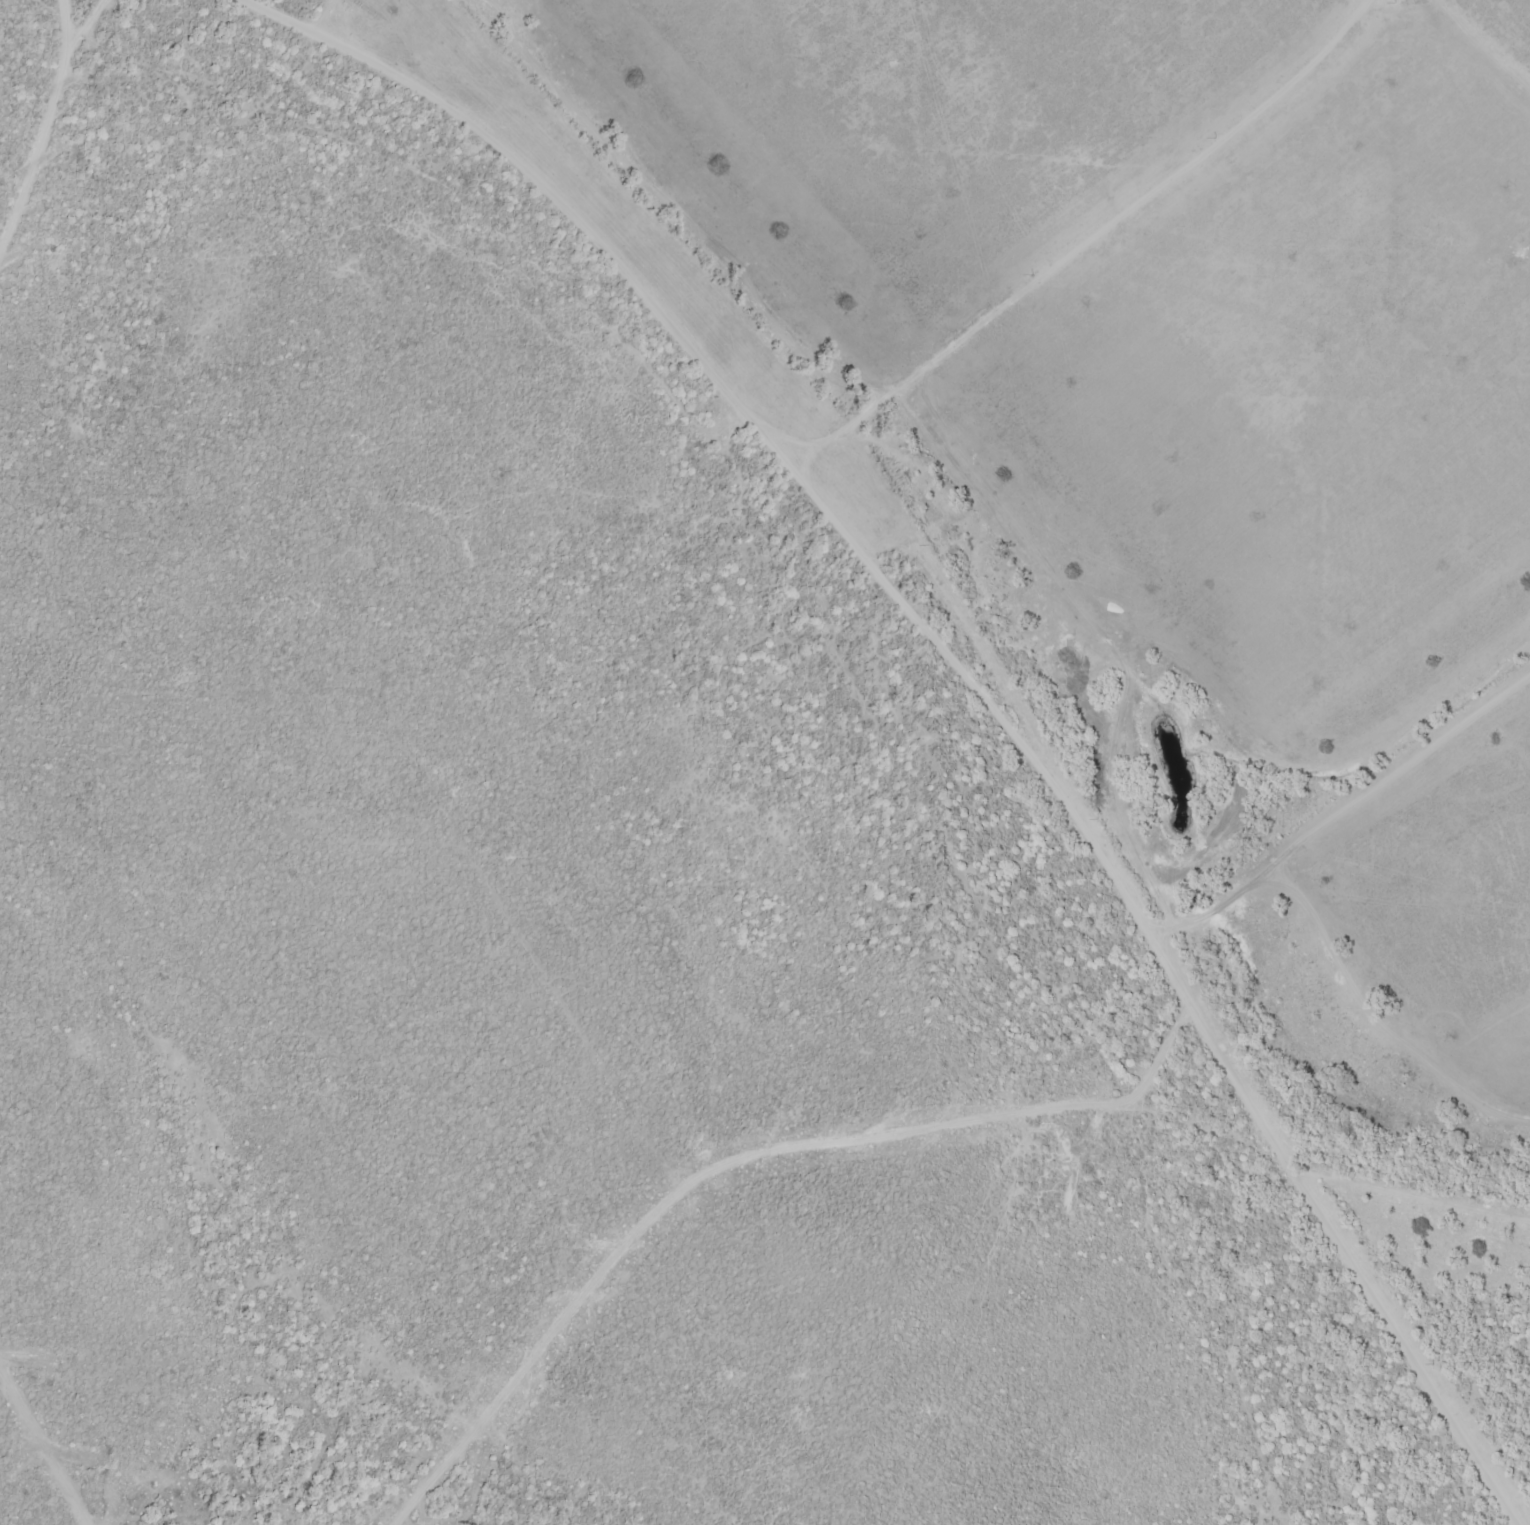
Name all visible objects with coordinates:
road: (36, 122)
road: (612, 261)
road: (1221, 1056)

